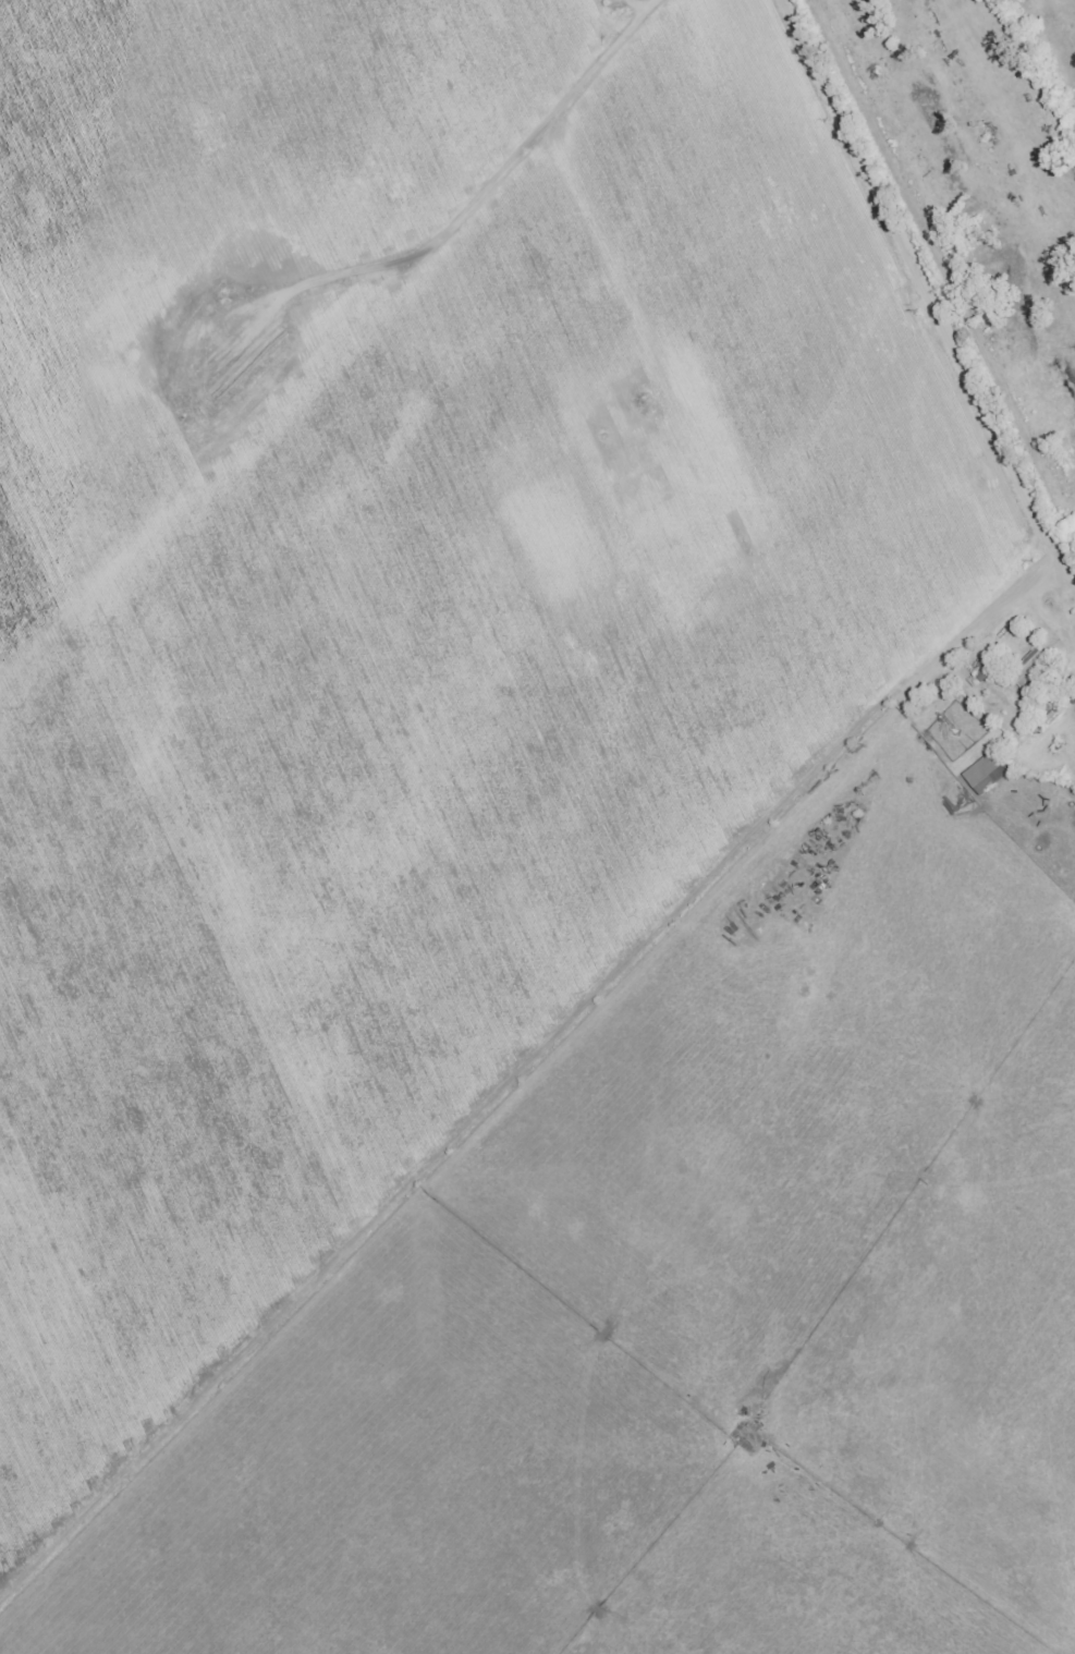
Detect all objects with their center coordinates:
road: (931, 306)
building: (1031, 669)
building: (989, 774)

